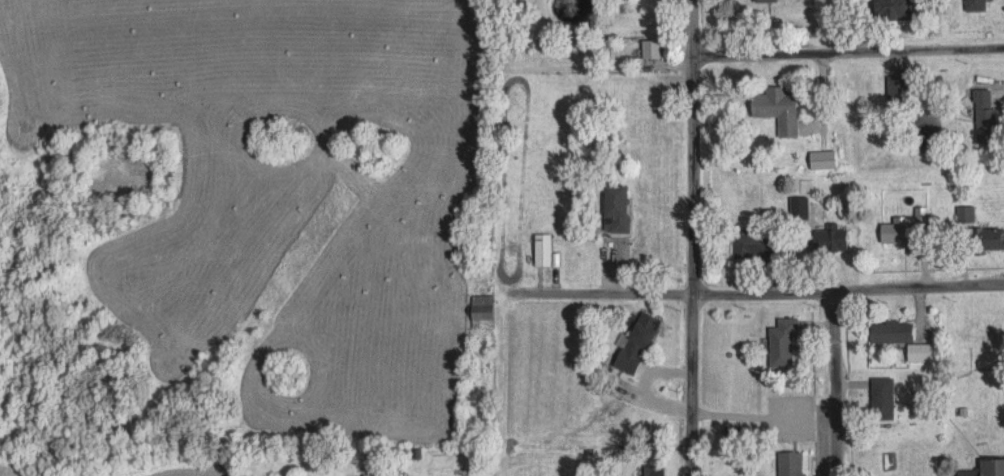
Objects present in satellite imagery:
building: (765, 0)
building: (971, 5)
building: (890, 10)
building: (648, 50)
road: (847, 51)
building: (894, 89)
building: (775, 109)
building: (982, 116)
building: (821, 160)
building: (798, 208)
building: (612, 209)
building: (962, 213)
building: (904, 228)
road: (694, 237)
building: (988, 239)
building: (828, 240)
building: (754, 243)
building: (540, 251)
road: (756, 290)
building: (479, 312)
building: (993, 337)
building: (899, 338)
building: (634, 342)
building: (781, 343)
road: (834, 382)
building: (880, 399)
building: (787, 463)
building: (984, 468)
building: (652, 470)
building: (379, 475)

